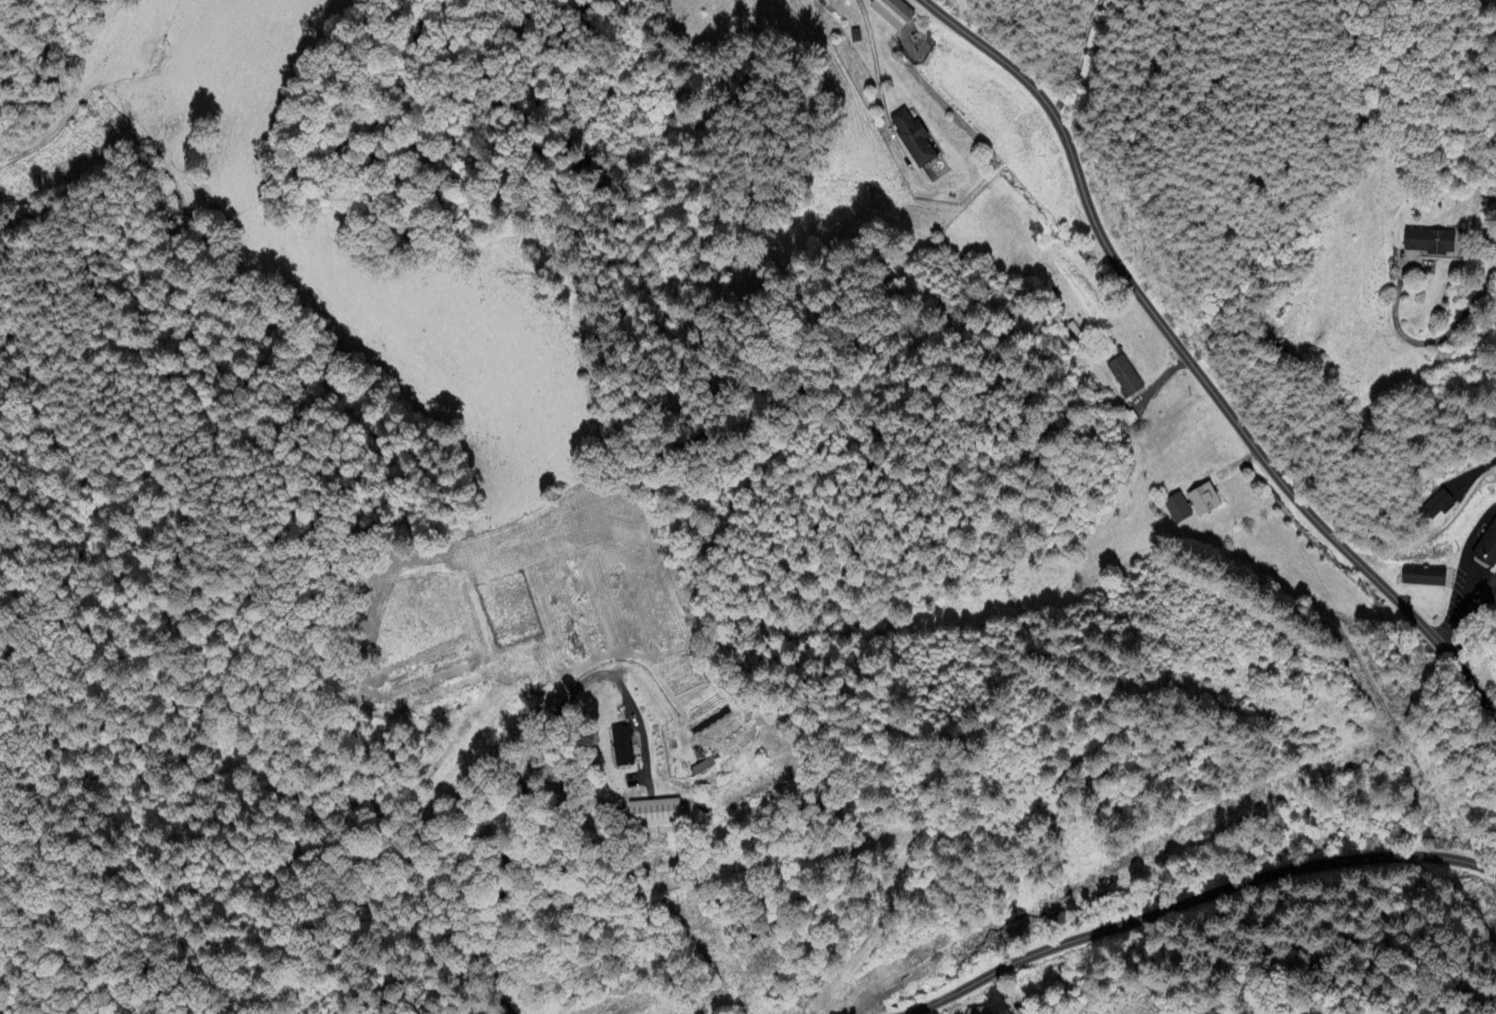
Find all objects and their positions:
building: (893, 13)
road: (873, 54)
road: (1080, 58)
building: (913, 138)
building: (934, 169)
building: (1431, 241)
road: (1168, 337)
road: (1428, 343)
building: (1125, 376)
road: (1473, 473)
building: (1192, 504)
building: (1439, 505)
building: (1486, 544)
building: (1424, 576)
road: (1468, 616)
road: (1474, 688)
building: (622, 746)
building: (704, 767)
building: (654, 817)
road: (1192, 902)

